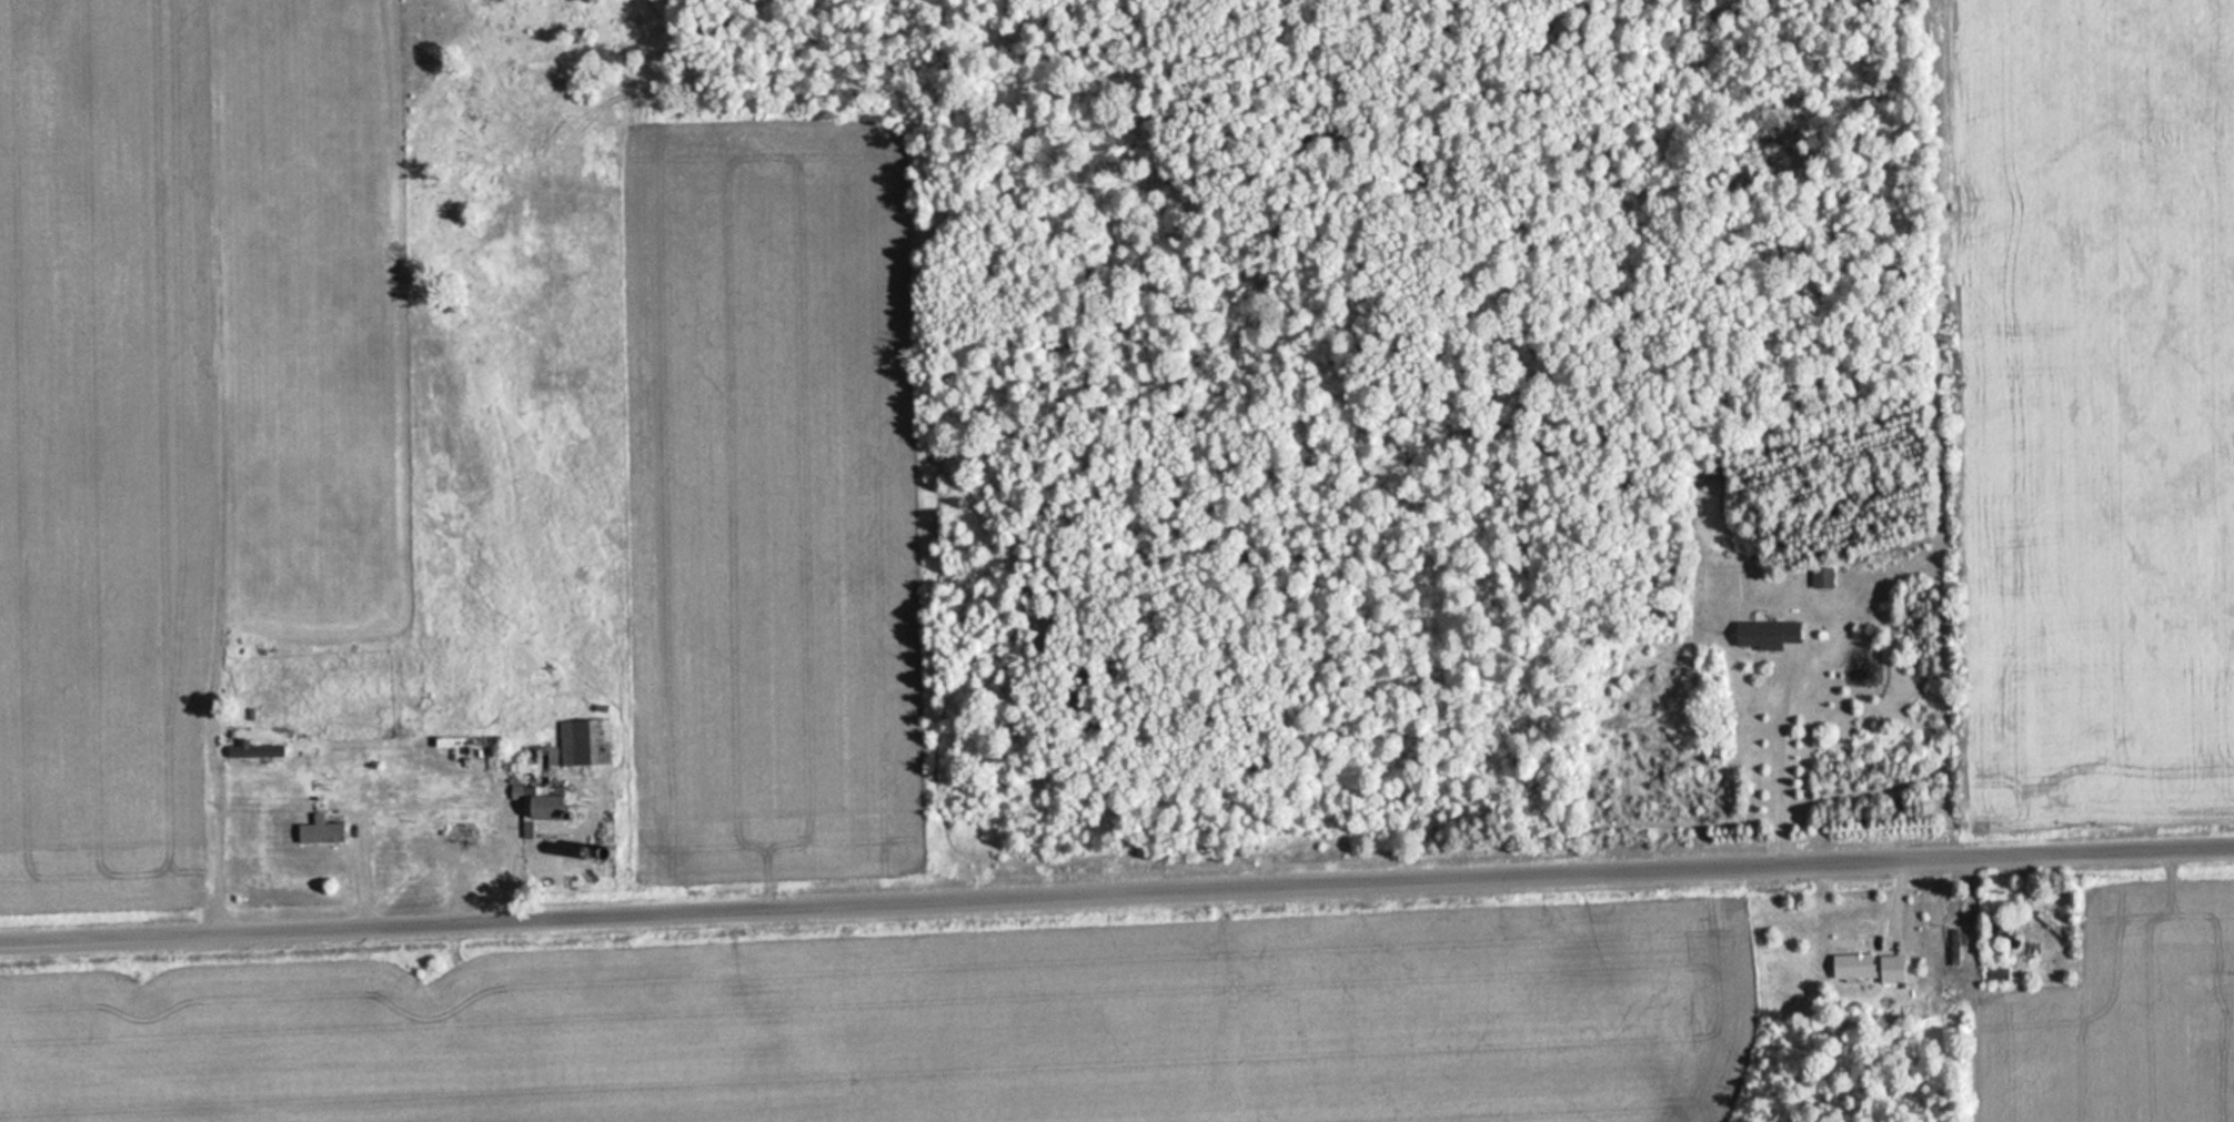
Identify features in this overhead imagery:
building: (1820, 578)
building: (1764, 635)
building: (251, 751)
building: (556, 766)
building: (318, 832)
road: (210, 850)
road: (1117, 898)
building: (2001, 934)
building: (1866, 967)

